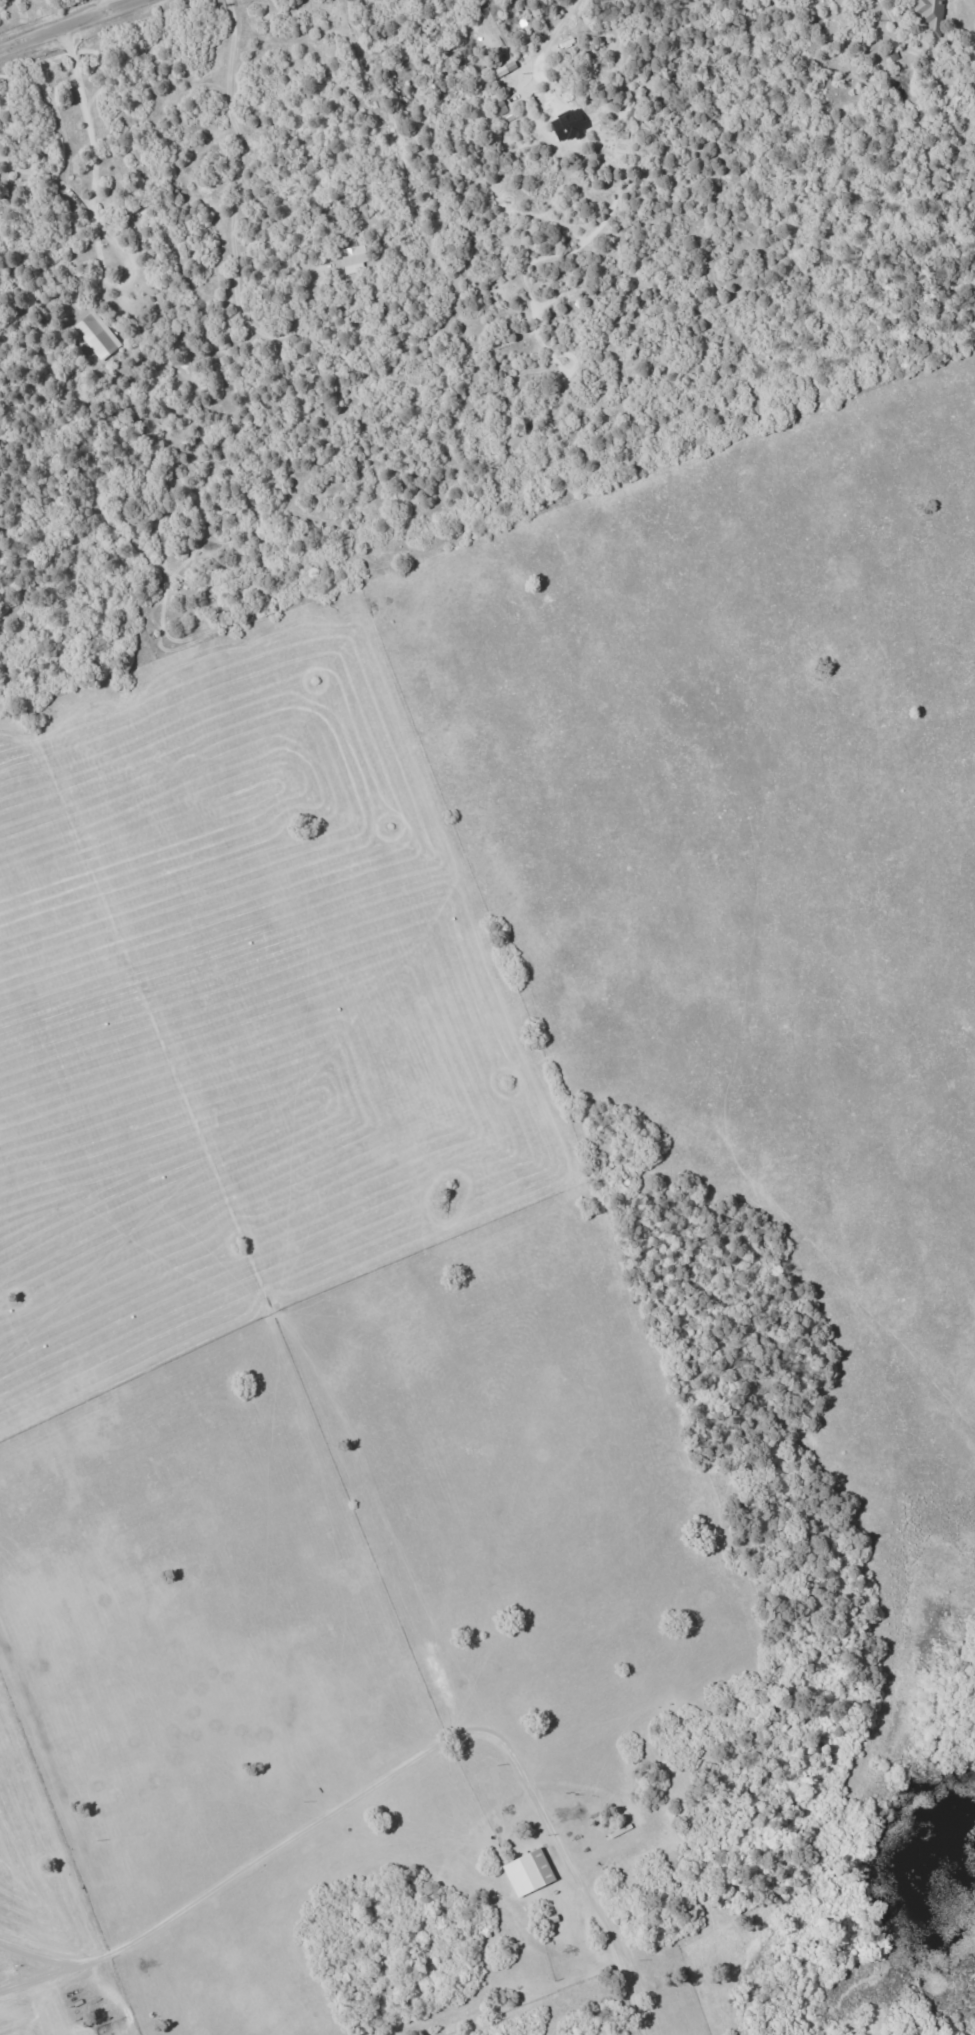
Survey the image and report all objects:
road: (104, 7)
building: (929, 15)
road: (549, 25)
road: (71, 26)
road: (892, 29)
road: (231, 218)
building: (352, 260)
building: (97, 335)
building: (527, 1873)
road: (634, 1990)

